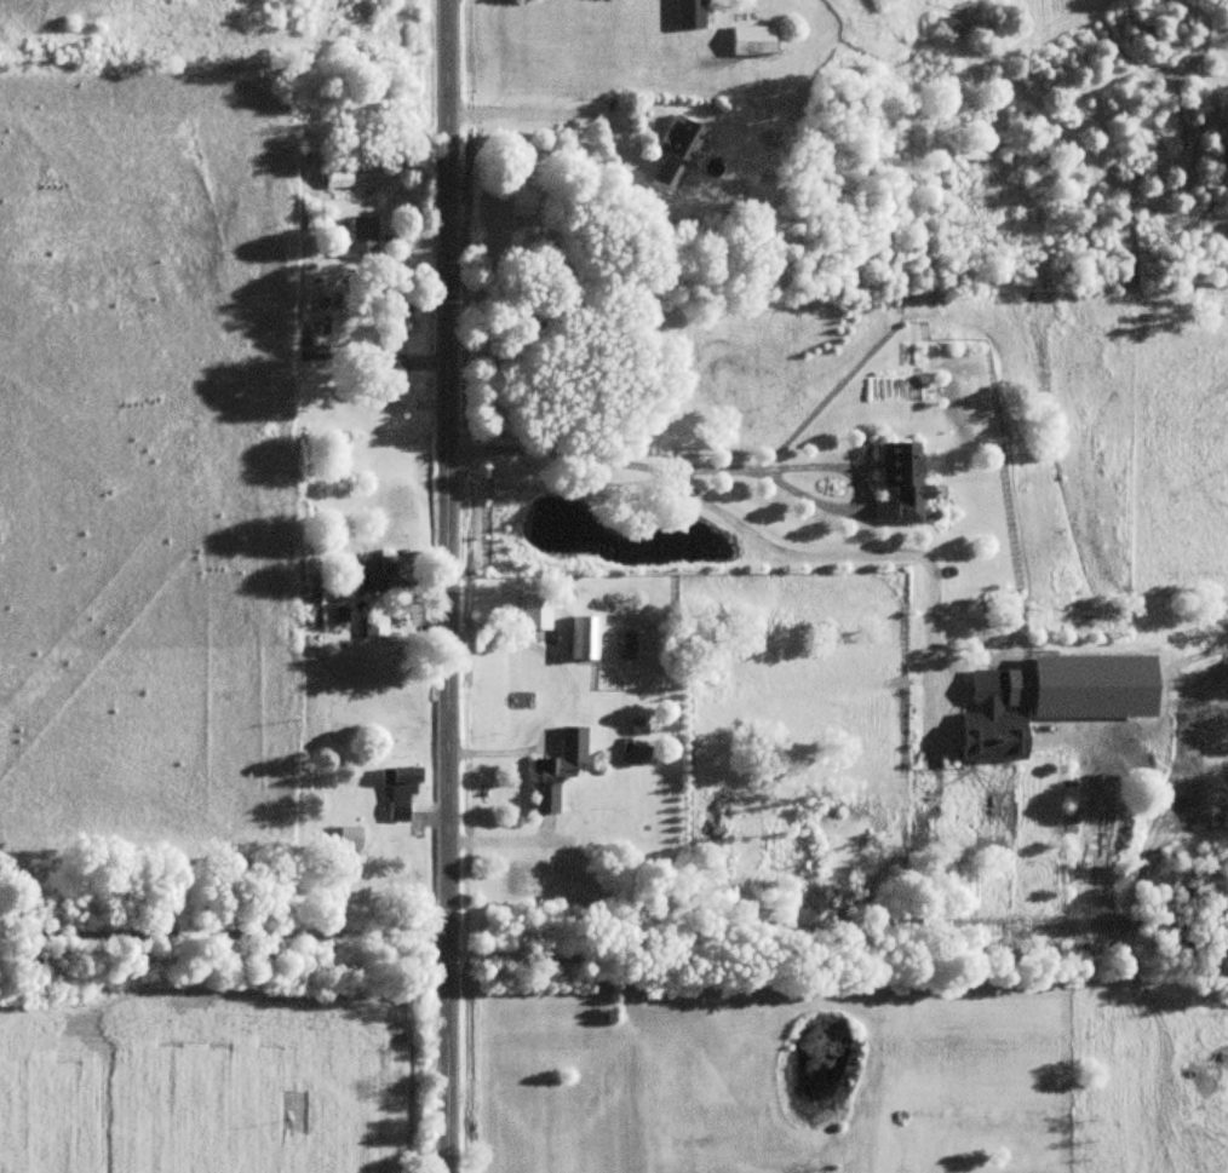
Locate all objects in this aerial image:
building: (688, 15)
building: (750, 41)
road: (553, 115)
building: (678, 142)
building: (666, 178)
building: (337, 180)
building: (360, 235)
building: (386, 380)
road: (719, 472)
building: (897, 484)
crop: (148, 485)
road: (857, 558)
building: (367, 575)
road: (447, 586)
building: (533, 613)
building: (372, 627)
building: (583, 639)
building: (988, 723)
building: (550, 781)
building: (397, 792)
building: (346, 840)
road: (223, 932)
crop: (208, 1080)

